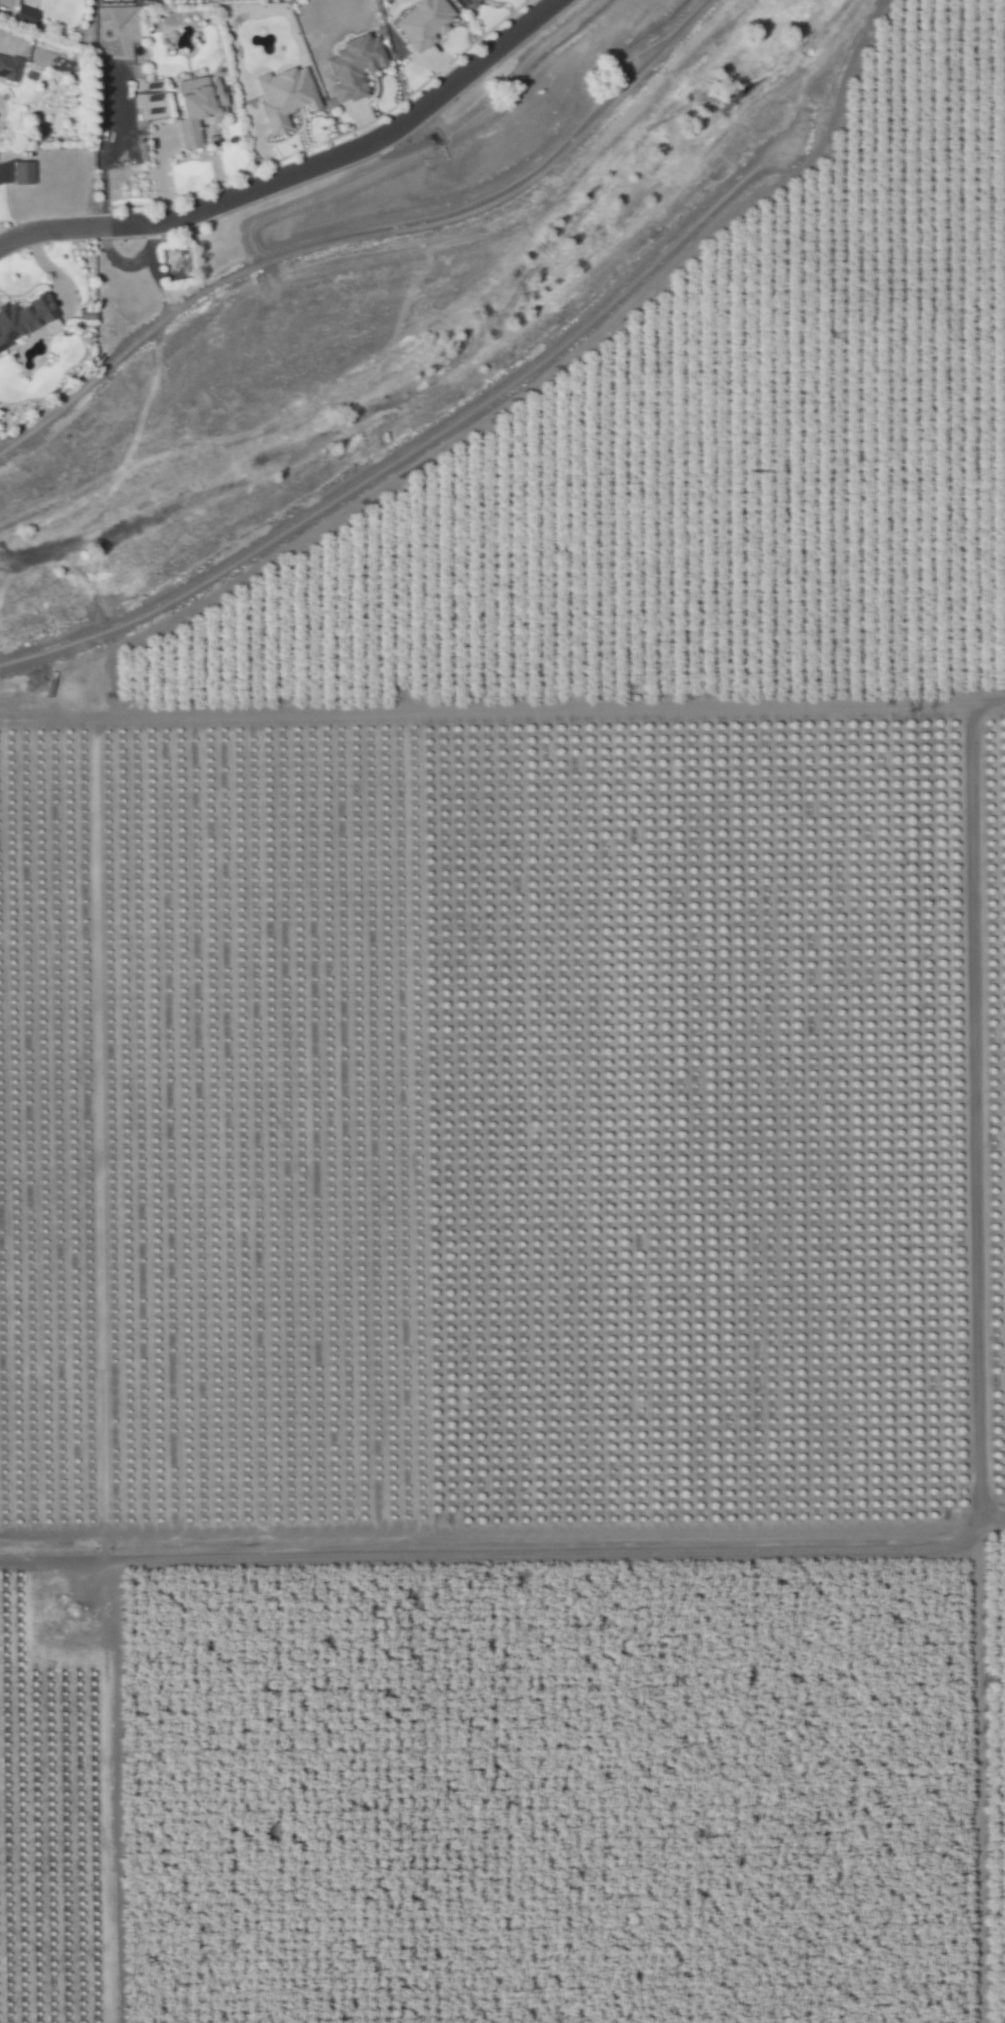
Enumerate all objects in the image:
building: (473, 2)
building: (421, 23)
building: (8, 68)
building: (353, 68)
building: (283, 96)
building: (195, 109)
road: (297, 171)
building: (21, 172)
road: (363, 235)
road: (423, 437)
crop: (994, 1766)

